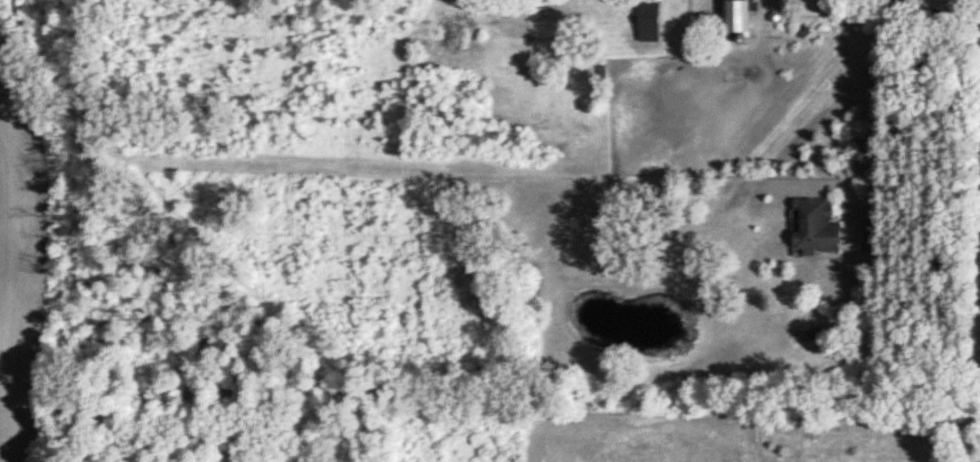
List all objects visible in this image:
building: (905, 0)
building: (732, 15)
building: (647, 20)
building: (812, 225)

